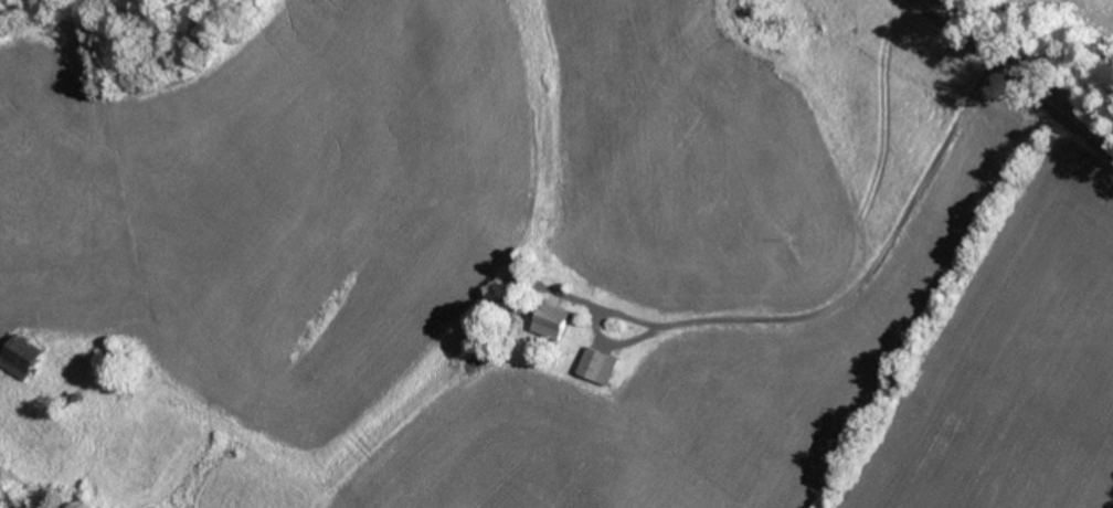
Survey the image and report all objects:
road: (995, 92)
building: (555, 324)
building: (24, 357)
building: (603, 366)

